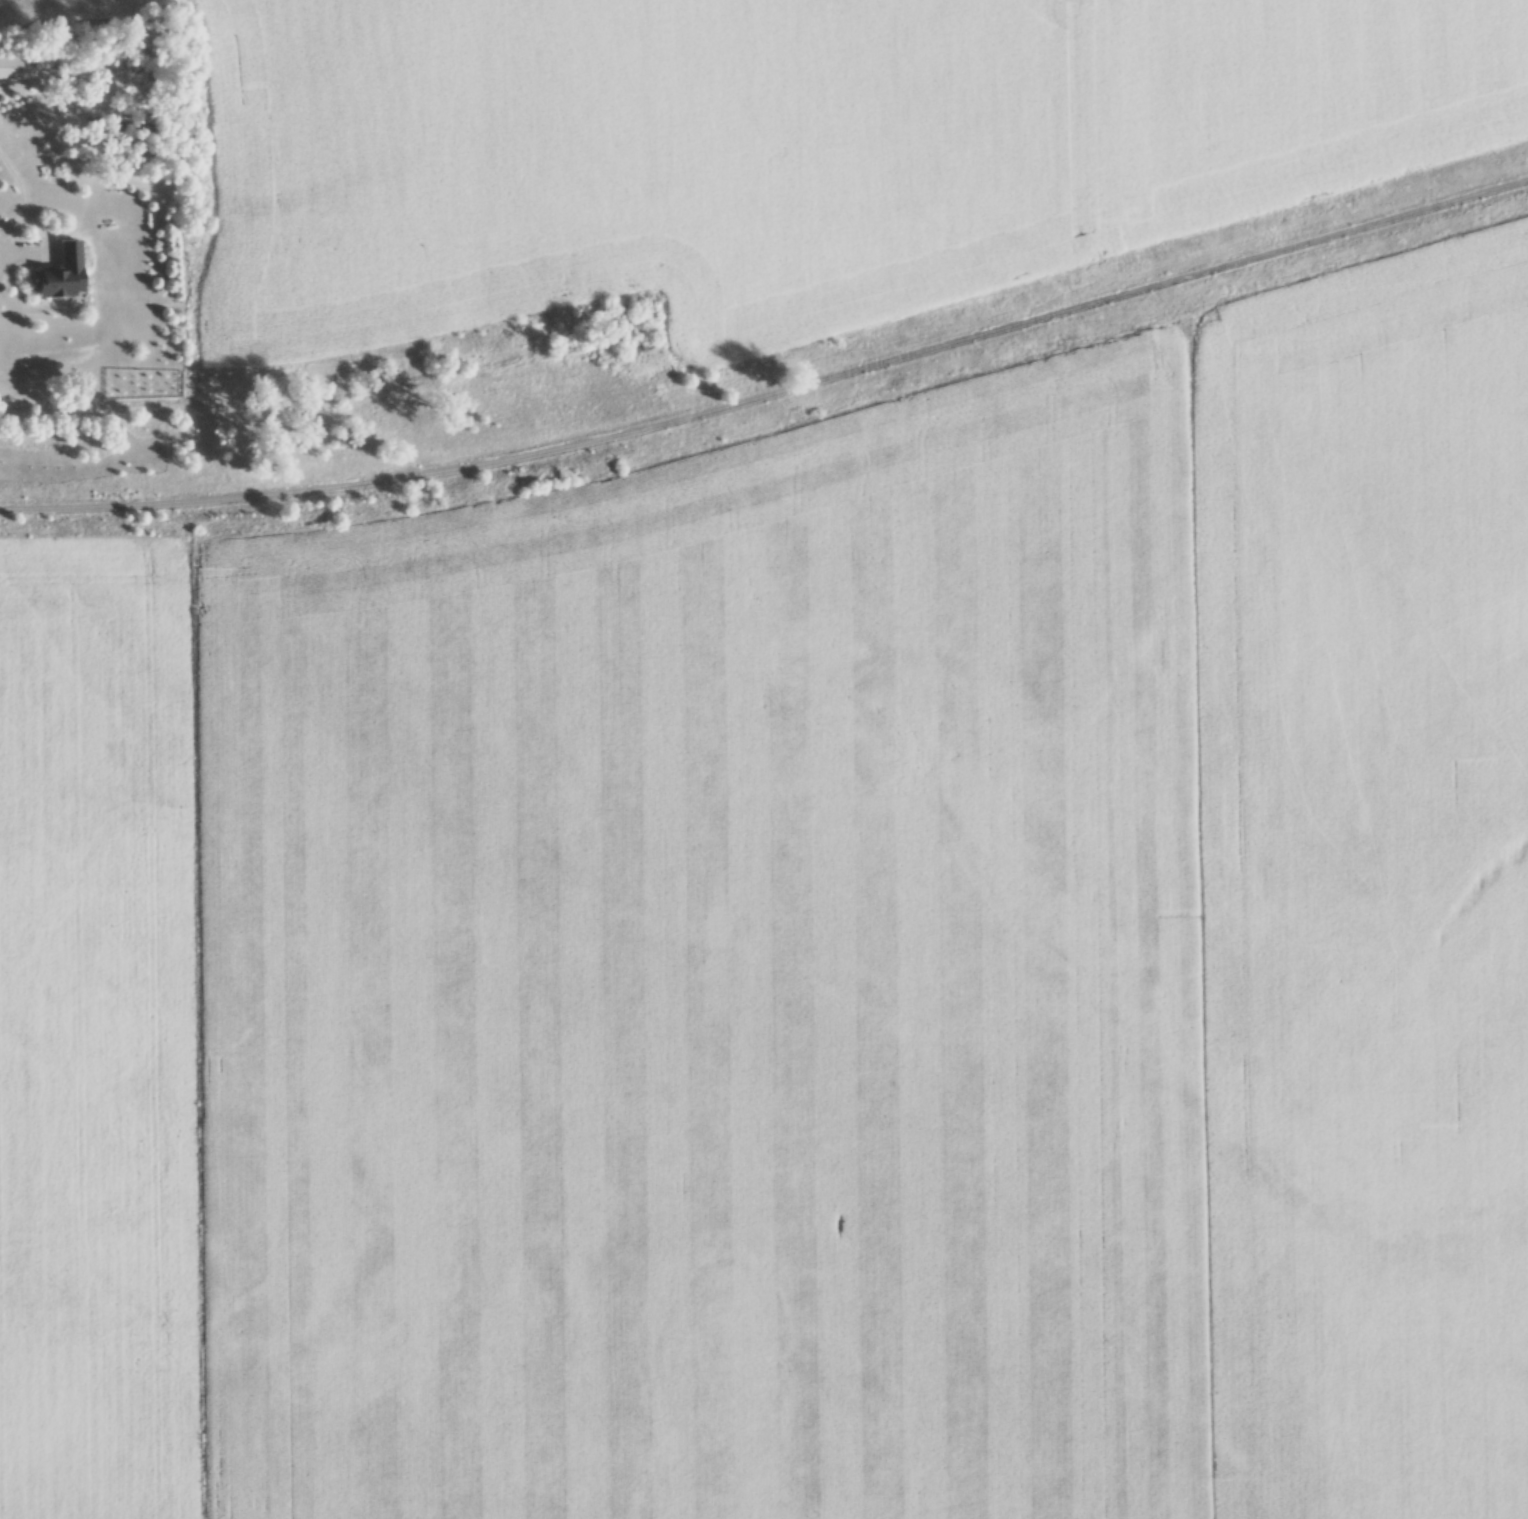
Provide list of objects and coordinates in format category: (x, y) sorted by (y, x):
building: (12, 70)
building: (66, 276)
railway: (772, 394)

